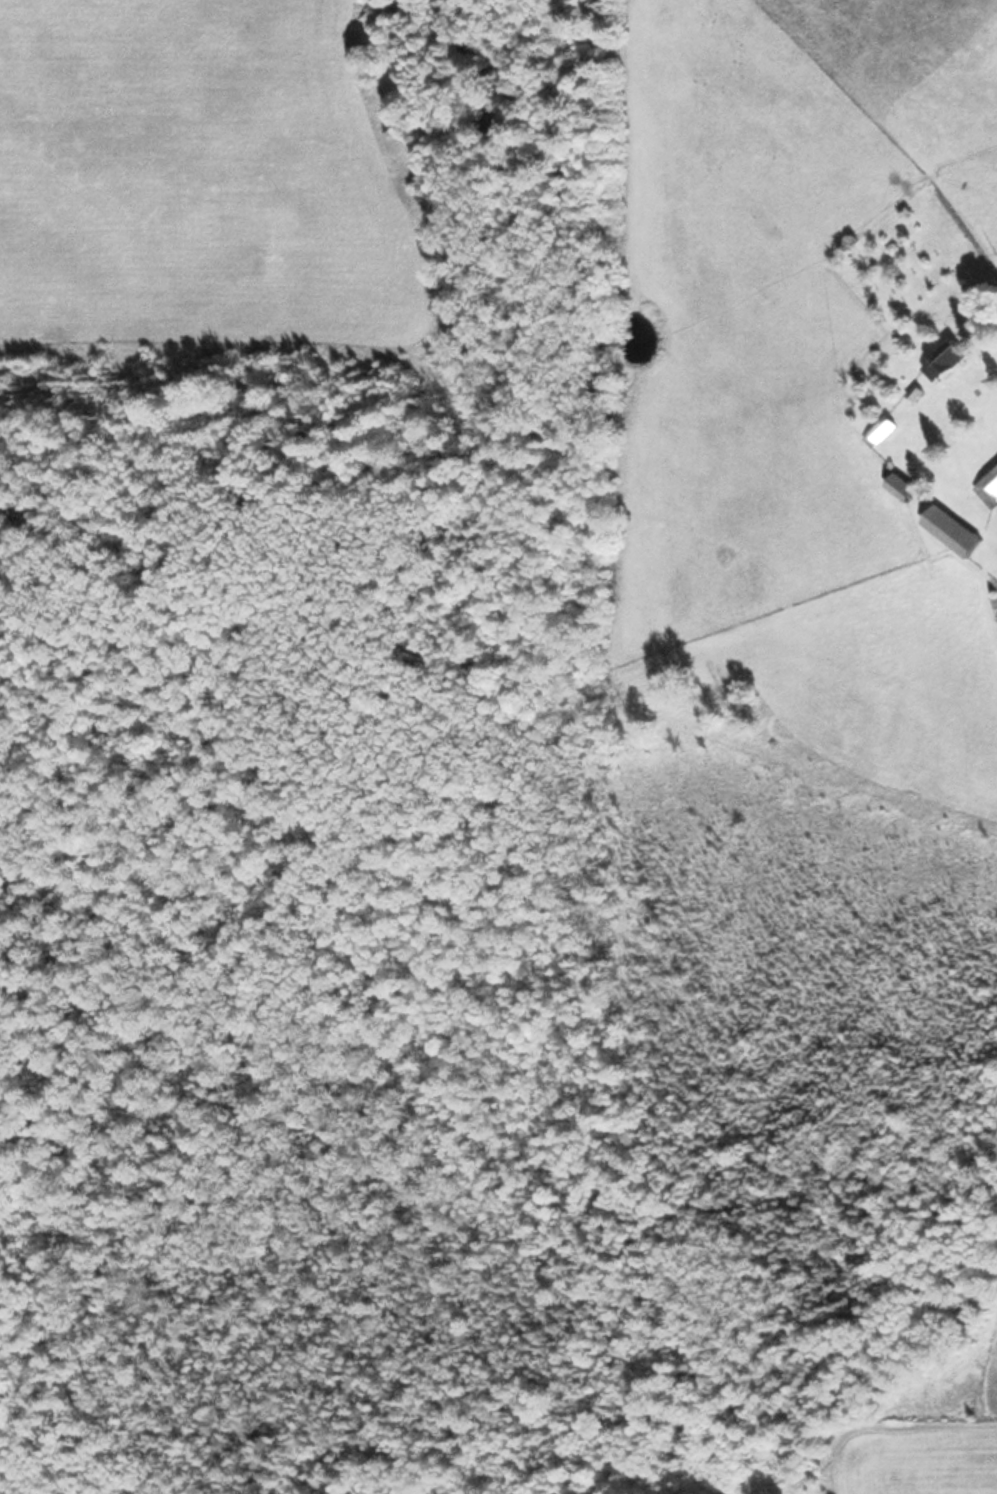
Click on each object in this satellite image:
building: (943, 361)
building: (879, 431)
building: (900, 487)
building: (988, 489)
building: (951, 531)

